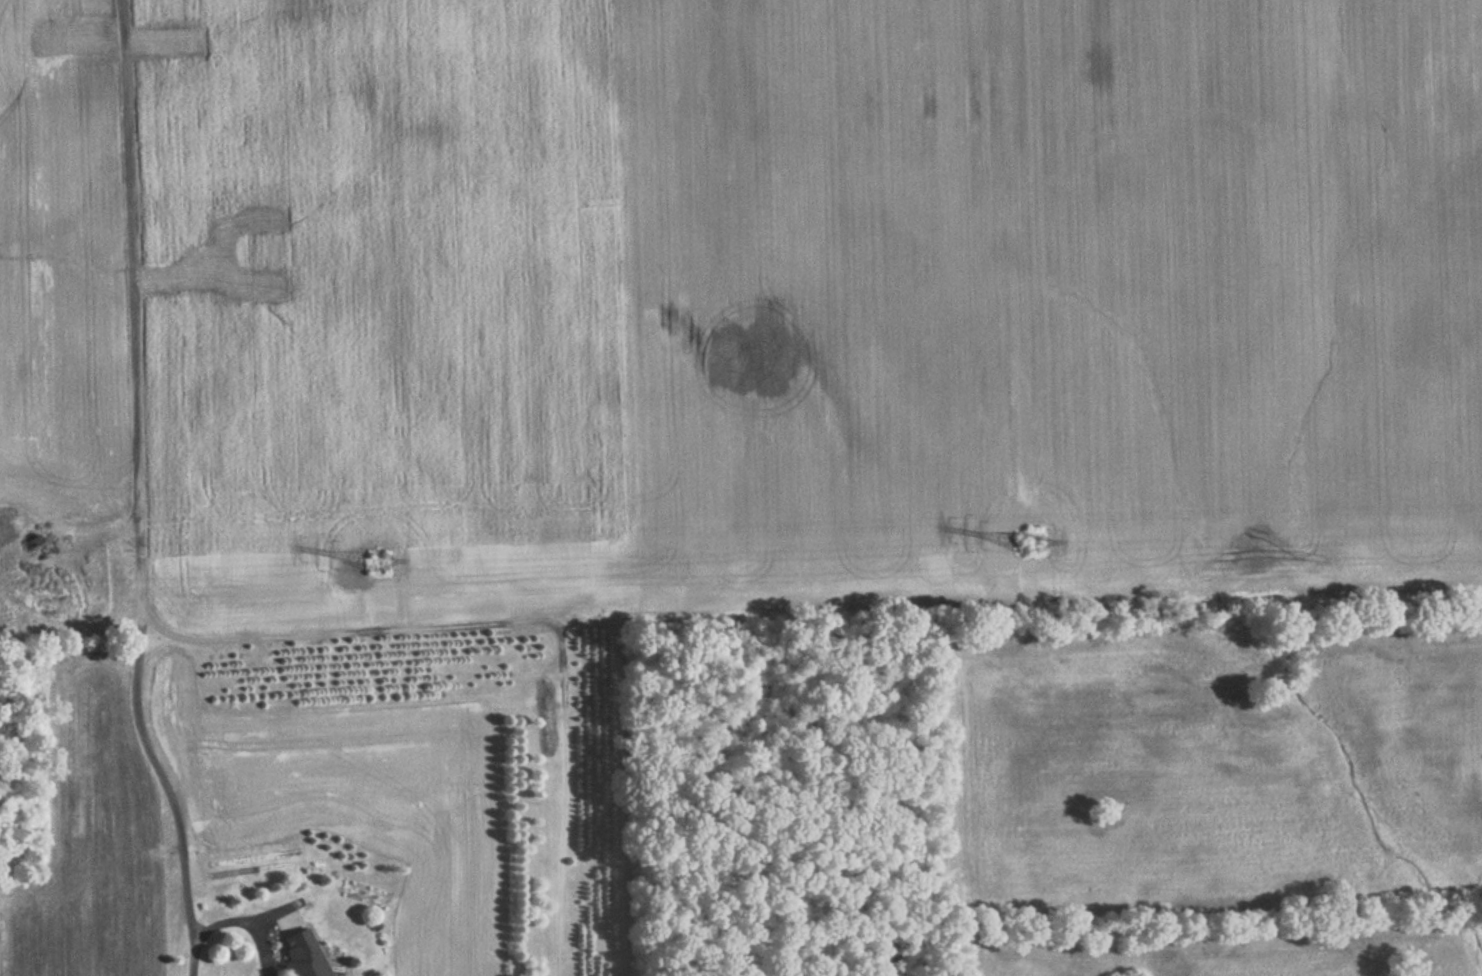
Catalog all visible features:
road: (136, 474)
power tower: (1027, 544)
power tower: (370, 560)
road: (273, 911)
road: (285, 918)
road: (247, 924)
building: (301, 954)
road: (193, 956)

